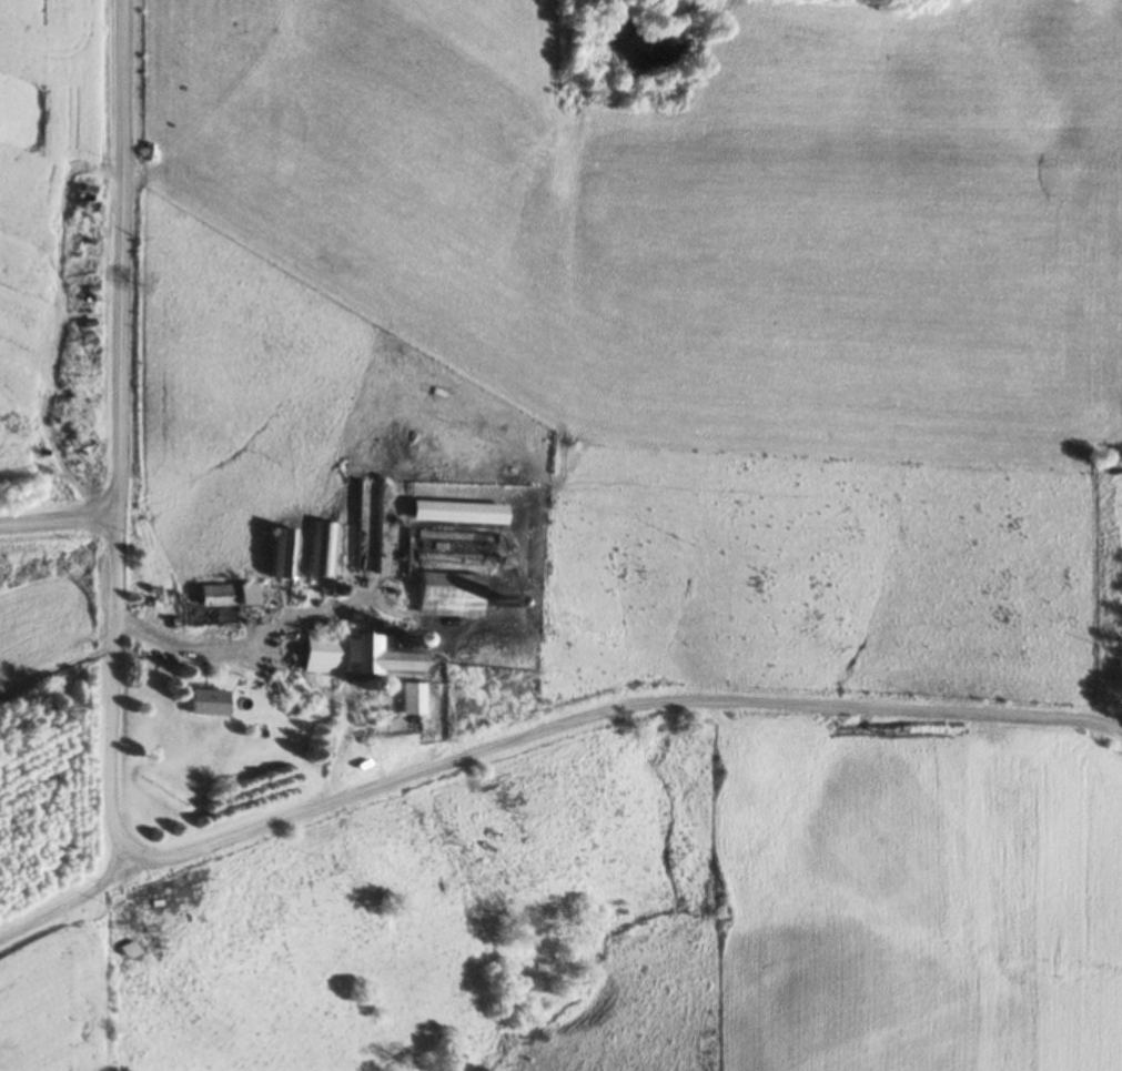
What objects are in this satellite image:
road: (118, 261)
building: (455, 513)
road: (57, 521)
building: (455, 548)
building: (324, 552)
building: (281, 555)
building: (223, 596)
building: (446, 596)
building: (354, 656)
building: (407, 700)
building: (204, 704)
road: (455, 759)
road: (71, 901)

